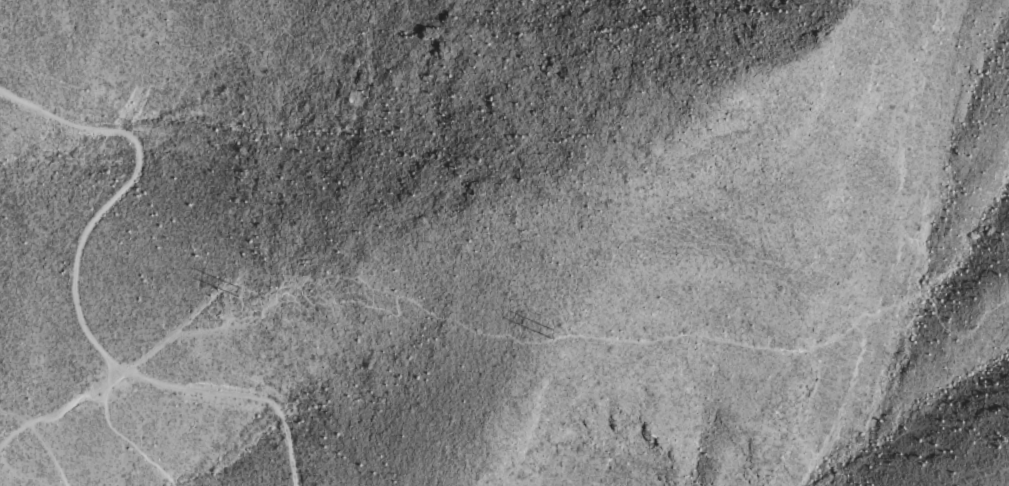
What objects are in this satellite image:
road: (87, 242)
road: (619, 342)
road: (239, 394)
road: (49, 414)
road: (124, 435)
road: (36, 446)

